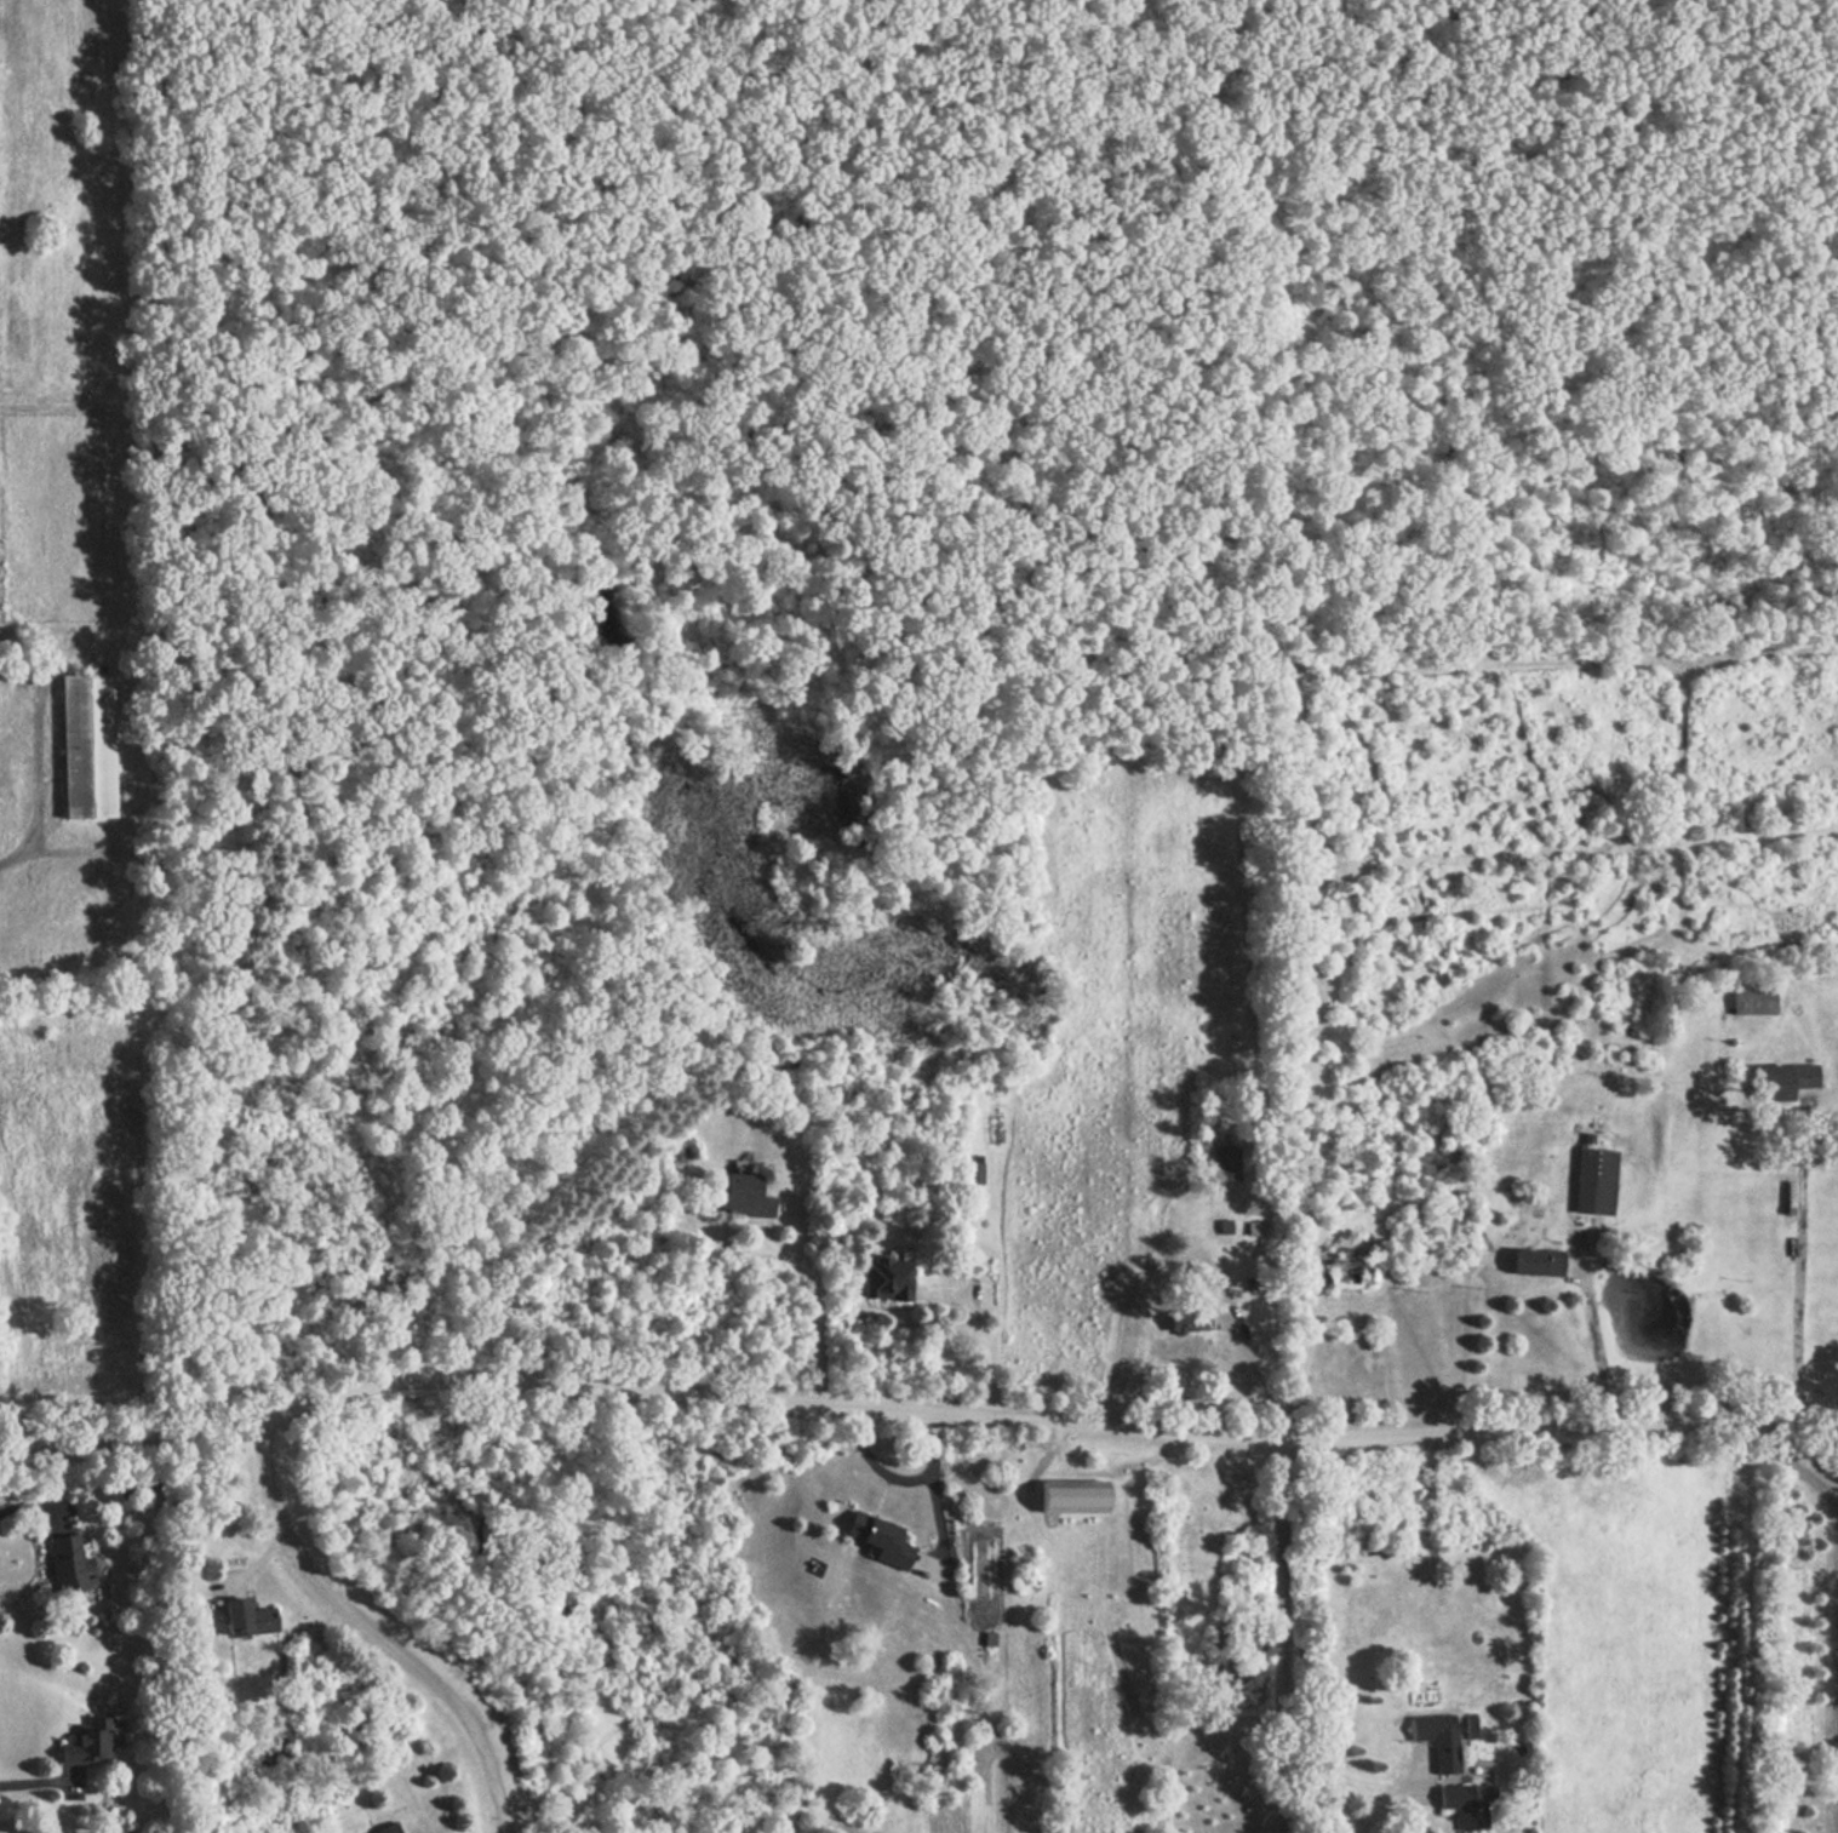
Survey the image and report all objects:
building: (82, 743)
building: (1751, 996)
building: (1782, 1078)
building: (1225, 1162)
building: (1592, 1179)
building: (738, 1195)
building: (1225, 1225)
building: (1256, 1228)
road: (1189, 1251)
building: (1534, 1260)
road: (1802, 1260)
building: (1345, 1273)
building: (884, 1276)
building: (1250, 1283)
road: (818, 1311)
road: (1597, 1344)
road: (916, 1405)
road: (1785, 1466)
road: (901, 1472)
building: (1069, 1496)
road: (24, 1510)
building: (876, 1537)
building: (64, 1564)
building: (244, 1619)
road: (370, 1629)
road: (1281, 1636)
building: (1473, 1724)
building: (1441, 1739)
building: (86, 1742)
road: (38, 1777)
road: (1353, 1785)
building: (1464, 1803)
building: (387, 1828)

